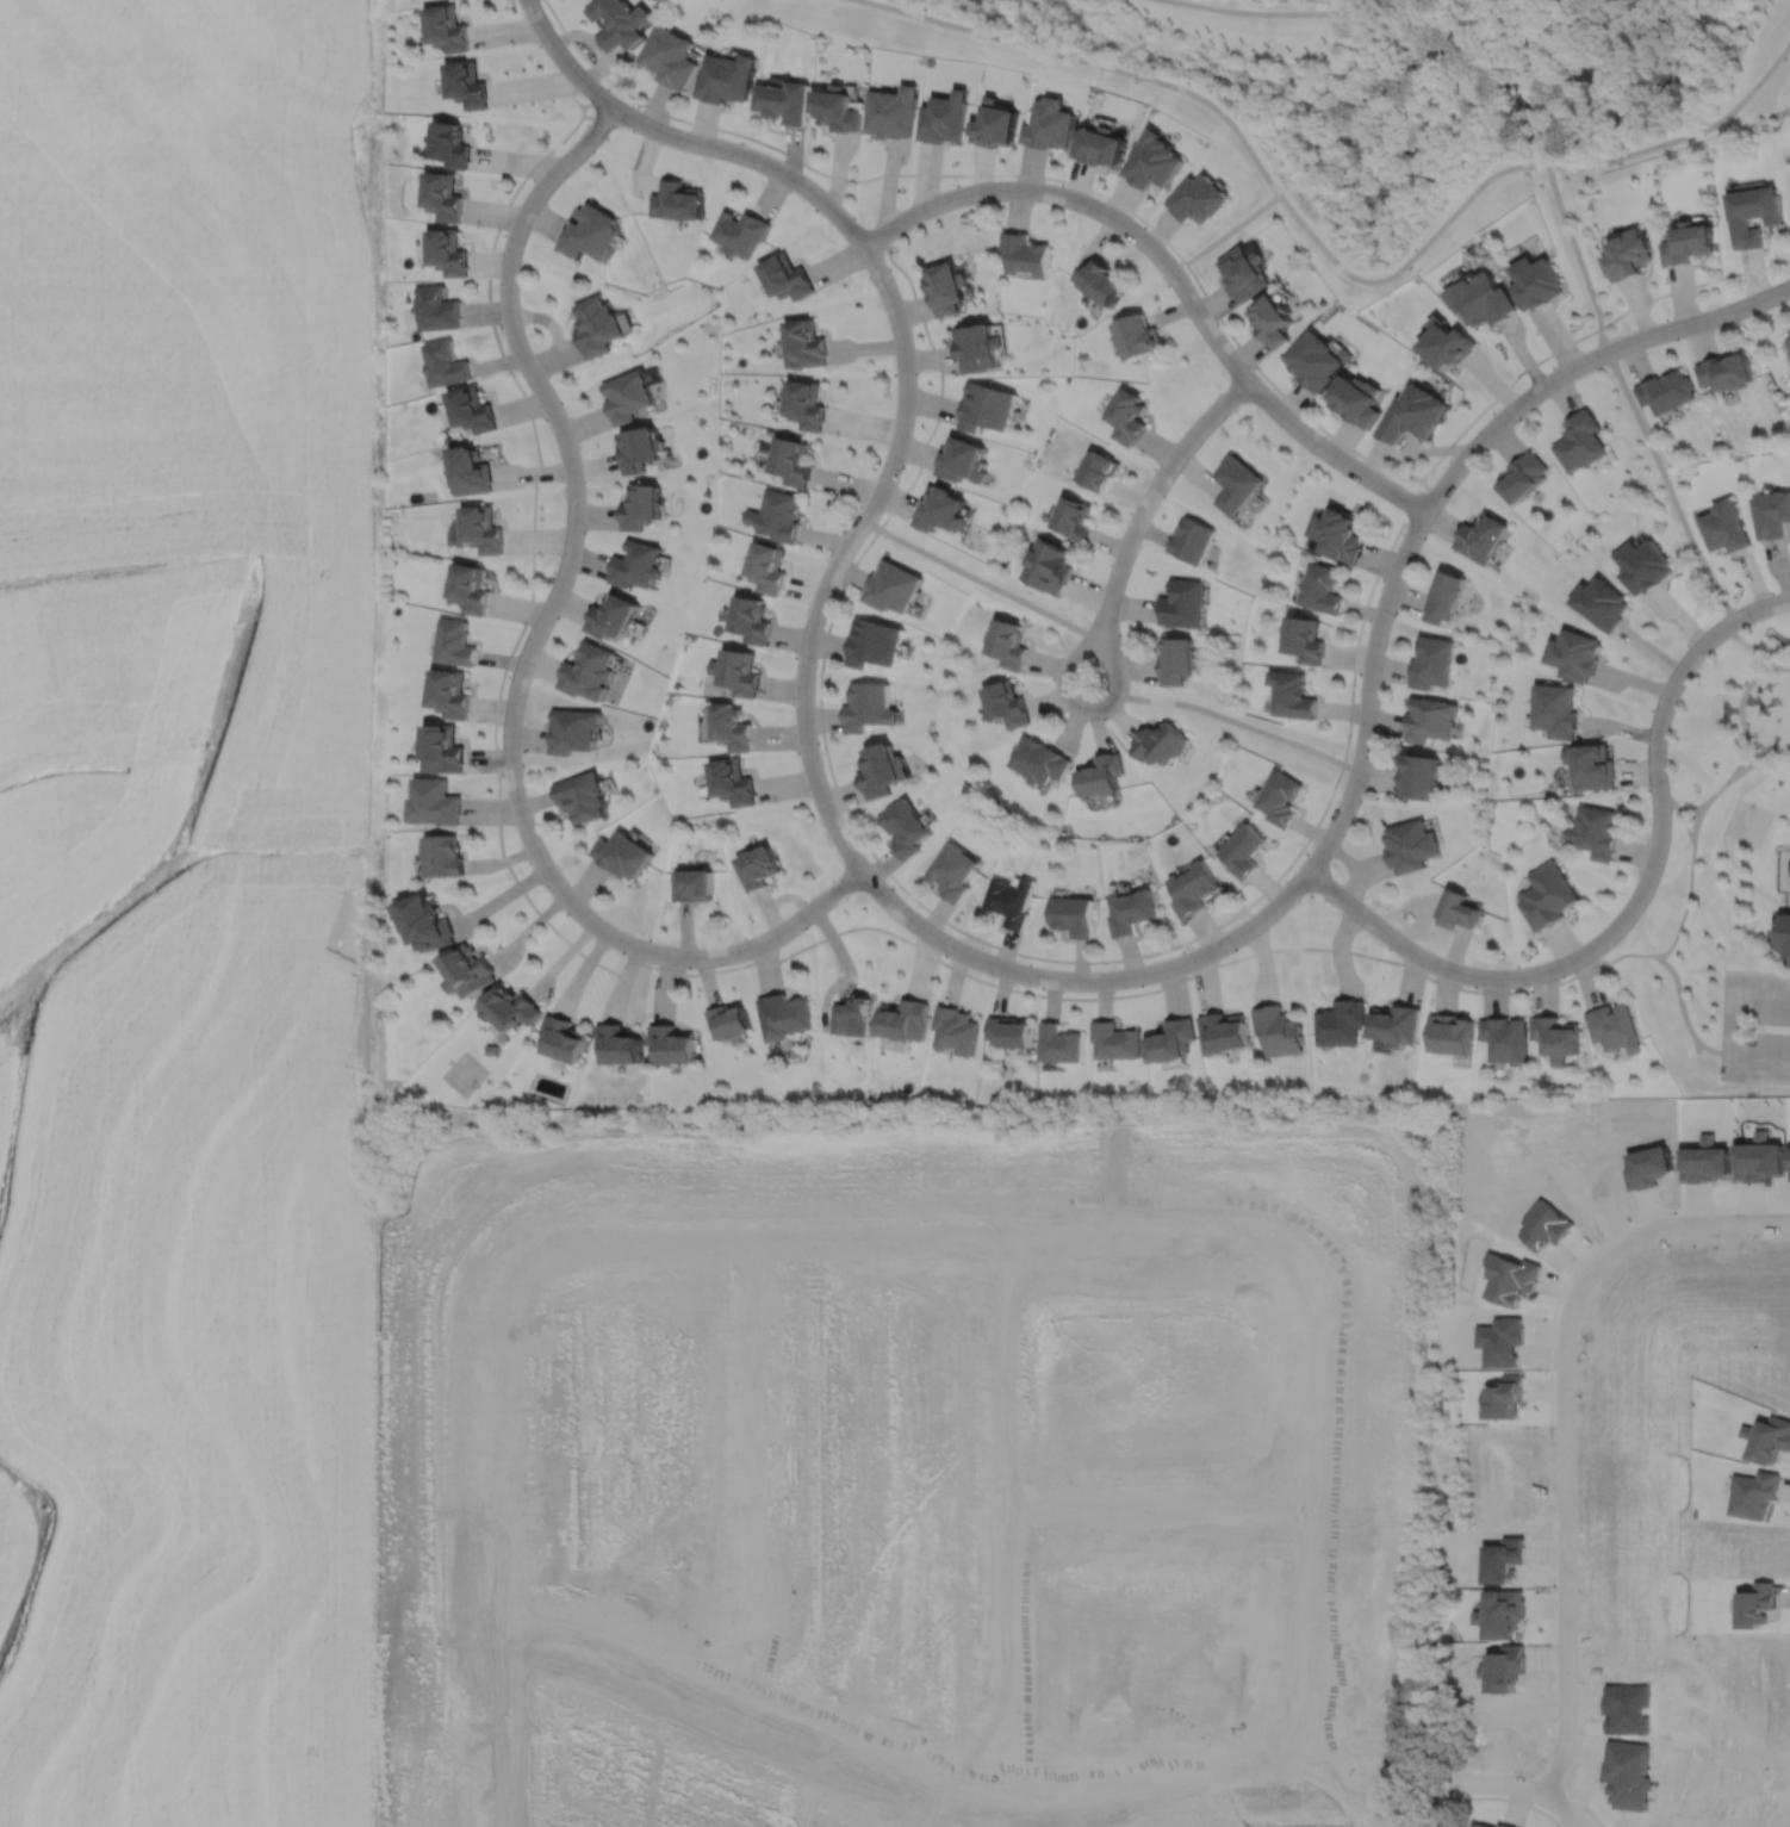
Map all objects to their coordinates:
road: (1267, 12)
street lamp: (552, 21)
building: (616, 23)
building: (443, 29)
building: (667, 57)
building: (723, 79)
building: (464, 85)
building: (782, 101)
building: (835, 111)
building: (890, 113)
building: (943, 119)
building: (1050, 120)
street lamp: (626, 126)
building: (995, 126)
road: (683, 137)
building: (449, 141)
street lamp: (740, 141)
building: (1100, 142)
building: (1154, 157)
street lamp: (957, 182)
building: (441, 192)
building: (1199, 195)
building: (676, 198)
street lamp: (813, 207)
street lamp: (1076, 212)
building: (1749, 216)
road: (1230, 228)
building: (739, 229)
building: (589, 230)
street lamp: (502, 232)
building: (1685, 247)
building: (447, 249)
building: (1024, 250)
road: (1328, 255)
building: (1626, 257)
building: (1244, 269)
road: (1171, 273)
building: (785, 274)
street lamp: (1188, 275)
street lamp: (893, 276)
building: (1100, 278)
building: (1539, 279)
building: (946, 285)
building: (1484, 297)
building: (435, 306)
building: (1270, 317)
road: (1612, 318)
street lamp: (1735, 321)
building: (596, 324)
street lamp: (497, 325)
street lamp: (1629, 329)
building: (1138, 334)
building: (804, 341)
building: (1449, 341)
building: (978, 344)
road: (1245, 355)
building: (1316, 358)
building: (443, 361)
building: (1726, 369)
street lamp: (1255, 371)
street lamp: (893, 374)
building: (1666, 389)
building: (627, 393)
building: (1356, 399)
building: (806, 403)
building: (986, 405)
building: (471, 408)
building: (1412, 411)
building: (1127, 414)
street lamp: (542, 417)
street lamp: (1519, 418)
building: (1580, 440)
building: (640, 447)
building: (962, 458)
building: (791, 460)
street lamp: (903, 466)
street lamp: (1151, 467)
building: (1100, 468)
building: (468, 470)
street lamp: (1434, 476)
building: (1522, 476)
building: (1236, 481)
road: (1154, 485)
building: (640, 504)
building: (940, 508)
building: (777, 514)
building: (1773, 514)
building: (1071, 516)
building: (1726, 526)
building: (481, 528)
street lamp: (584, 529)
building: (1340, 534)
building: (1480, 535)
building: (1192, 539)
street lamp: (823, 558)
building: (635, 564)
building: (1048, 564)
building: (1645, 565)
building: (766, 567)
road: (975, 577)
building: (893, 585)
building: (468, 586)
building: (1323, 588)
building: (1443, 596)
building: (1183, 602)
building: (1602, 602)
building: (613, 615)
street lamp: (1088, 615)
building: (751, 619)
street lamp: (1392, 619)
street lamp: (1754, 623)
street lamp: (524, 628)
building: (1306, 639)
building: (454, 641)
building: (872, 642)
building: (1008, 644)
road: (527, 648)
building: (1574, 654)
road: (1767, 655)
road: (1070, 657)
building: (1176, 659)
building: (1430, 661)
street lamp: (816, 666)
building: (588, 671)
building: (736, 671)
street lamp: (1664, 675)
building: (449, 694)
building: (1294, 694)
building: (1006, 703)
building: (868, 707)
building: (1555, 709)
road: (1739, 709)
building: (1428, 719)
road: (1237, 720)
street lamp: (1084, 721)
building: (731, 727)
building: (572, 729)
building: (1161, 742)
street lamp: (1350, 742)
building: (445, 750)
road: (1741, 753)
building: (1037, 760)
building: (1591, 766)
street lamp: (523, 768)
building: (881, 771)
building: (1100, 775)
building: (1418, 776)
building: (732, 782)
road: (1718, 787)
street lamp: (1671, 788)
building: (580, 796)
building: (1280, 798)
street lamp: (808, 801)
building: (436, 802)
road: (1691, 807)
building: (903, 828)
building: (1596, 831)
building: (1410, 846)
building: (1242, 849)
street lamp: (1305, 852)
building: (622, 855)
building: (445, 856)
building: (758, 869)
building: (951, 872)
road: (1690, 872)
park: (1723, 875)
building: (692, 885)
street lamp: (543, 887)
street lamp: (891, 887)
building: (1193, 887)
street lamp: (1626, 890)
building: (1547, 896)
building: (1011, 902)
road: (1631, 906)
building: (1458, 911)
building: (1132, 912)
street lamp: (1380, 913)
building: (1073, 915)
building: (423, 916)
street lamp: (807, 926)
road: (959, 930)
building: (1784, 936)
street lamp: (648, 937)
road: (797, 947)
street lamp: (1235, 950)
street lamp: (1107, 965)
building: (465, 967)
road: (1161, 967)
street lamp: (992, 976)
street lamp: (1525, 986)
road: (1732, 996)
building: (508, 1003)
building: (782, 1012)
building: (851, 1013)
building: (903, 1015)
building: (725, 1017)
building: (1340, 1019)
building: (1394, 1021)
building: (1615, 1025)
building: (955, 1026)
parking lot: (1729, 1026)
building: (1278, 1027)
building: (1009, 1029)
building: (1222, 1030)
building: (1449, 1031)
building: (560, 1034)
building: (1555, 1034)
building: (1504, 1036)
building: (1114, 1037)
building: (1170, 1037)
building: (616, 1040)
building: (1058, 1040)
building: (669, 1042)
road: (1759, 1055)
road: (1691, 1222)
road: (906, 1233)
road: (753, 1461)
road: (1000, 1504)
road: (1150, 1505)
road: (1299, 1516)
road: (1565, 1520)
road: (514, 1547)
road: (448, 1738)
road: (972, 1775)
road: (1529, 1788)

